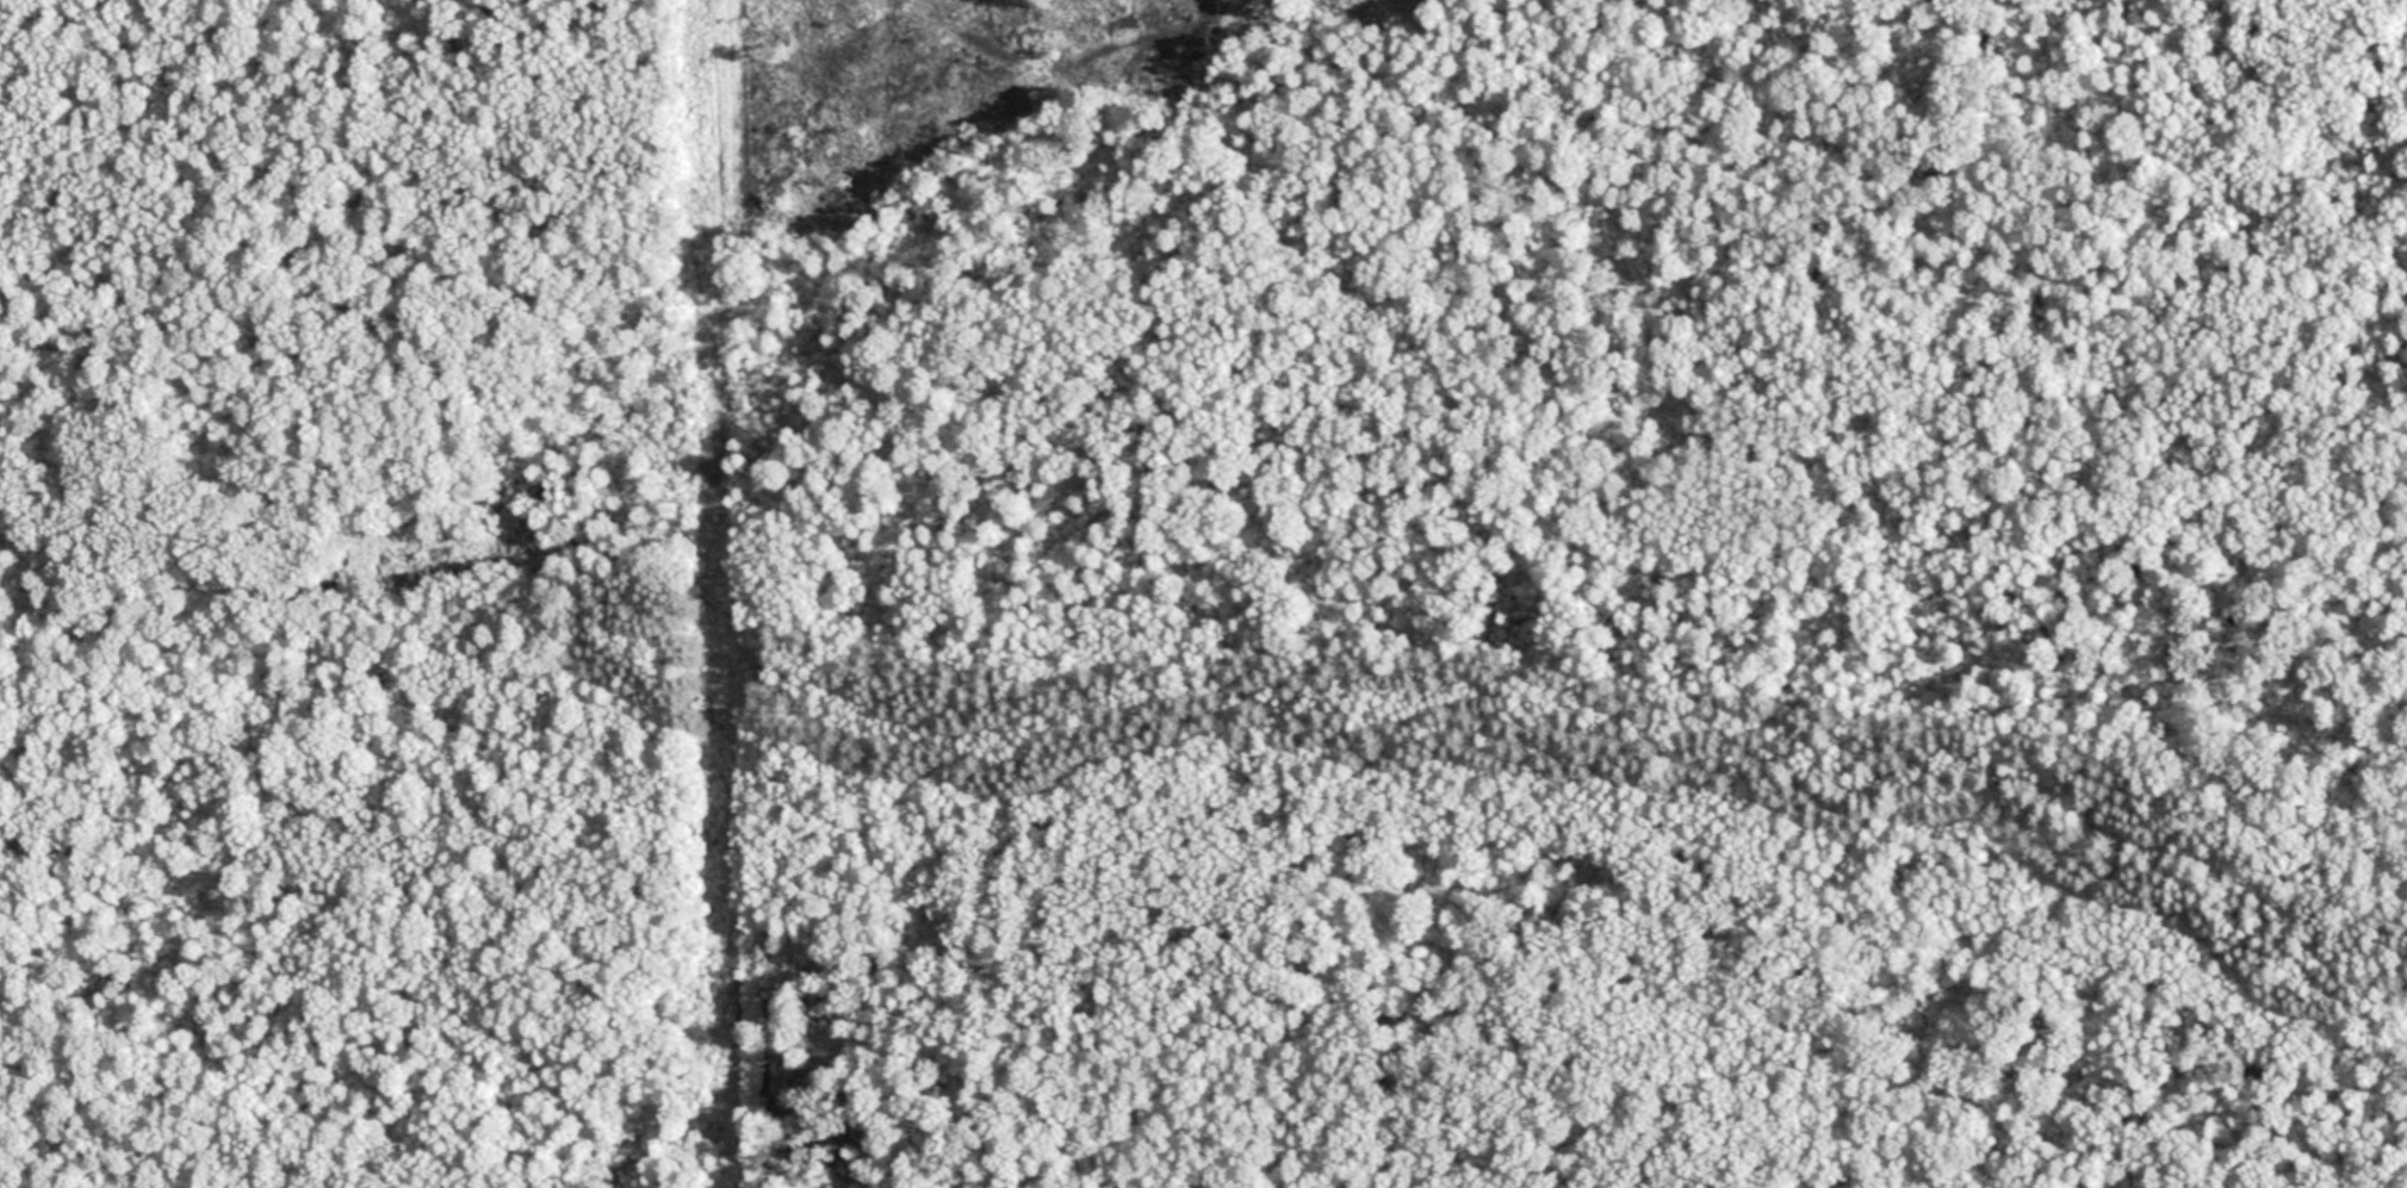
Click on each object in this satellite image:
park: (1203, 593)

